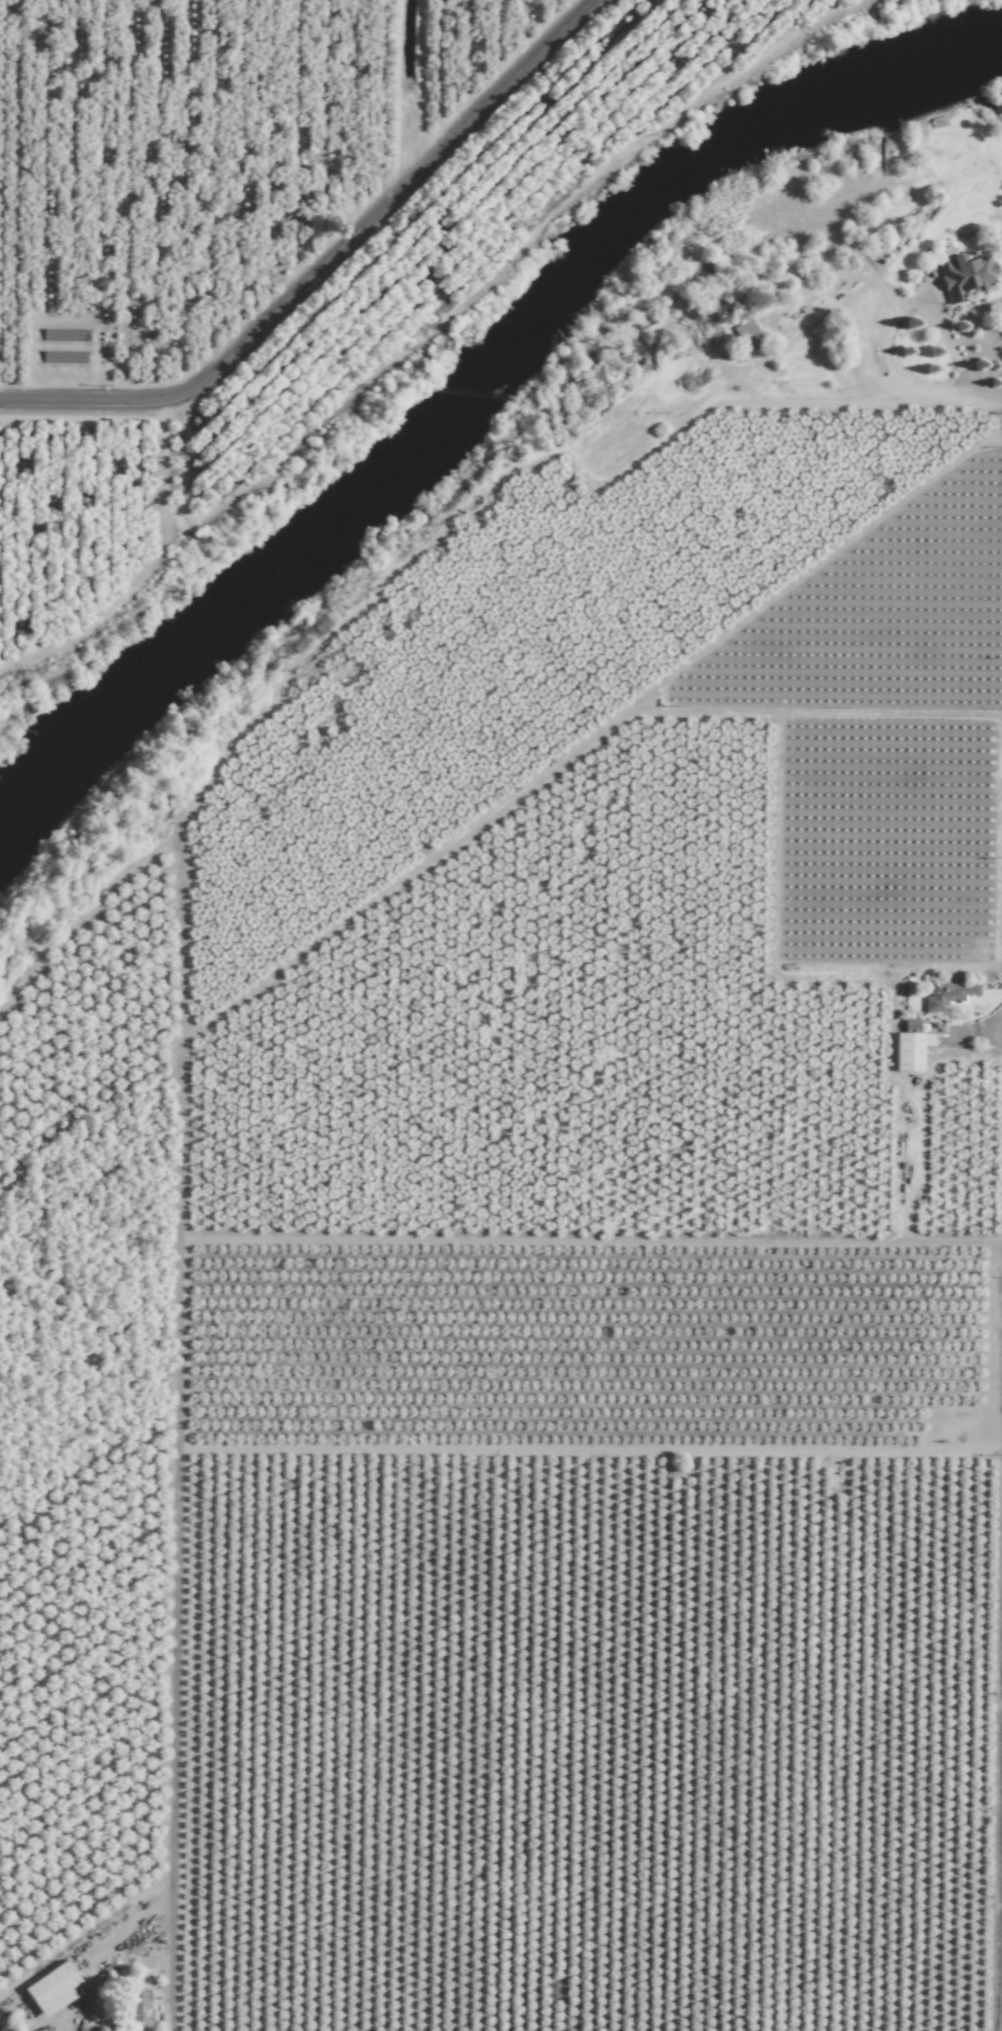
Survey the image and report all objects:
crop: (270, 224)
road: (322, 262)
building: (965, 272)
building: (747, 332)
road: (951, 347)
road: (815, 397)
building: (949, 994)
building: (911, 1051)
crop: (530, 1286)
building: (51, 1988)
building: (139, 2007)
building: (44, 2030)

